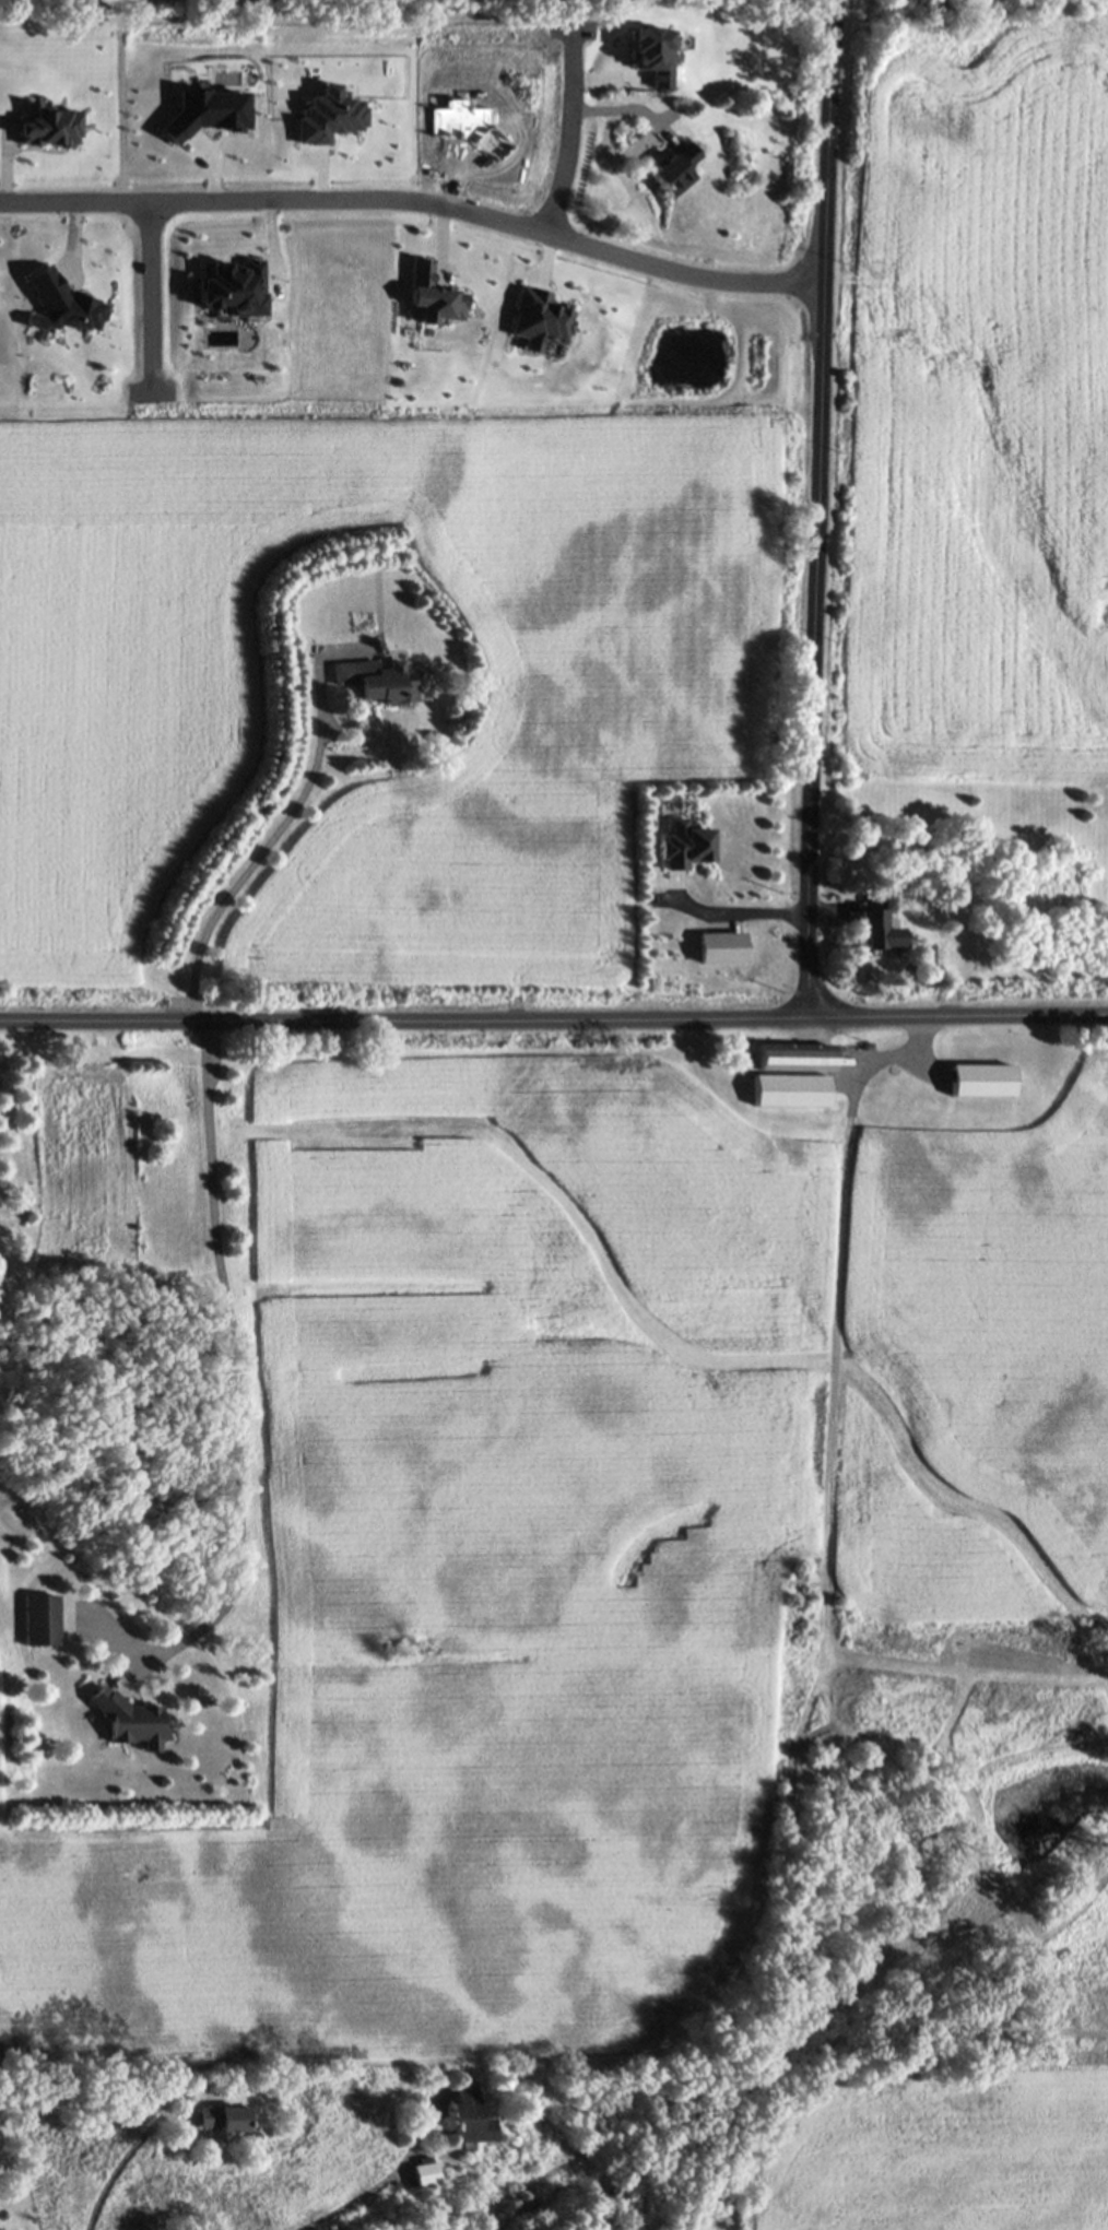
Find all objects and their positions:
road: (123, 116)
road: (565, 130)
building: (671, 166)
building: (475, 175)
road: (417, 200)
road: (150, 299)
crop: (978, 400)
road: (818, 509)
building: (375, 681)
road: (270, 846)
road: (732, 913)
building: (875, 924)
road: (554, 1020)
building: (792, 1073)
building: (981, 1077)
road: (236, 1374)
road: (835, 1385)
crop: (582, 1527)
building: (40, 1619)
building: (127, 1718)
building: (467, 2116)
building: (222, 2117)
crop: (938, 2146)
road: (117, 2164)
building: (423, 2170)
road: (376, 2184)

